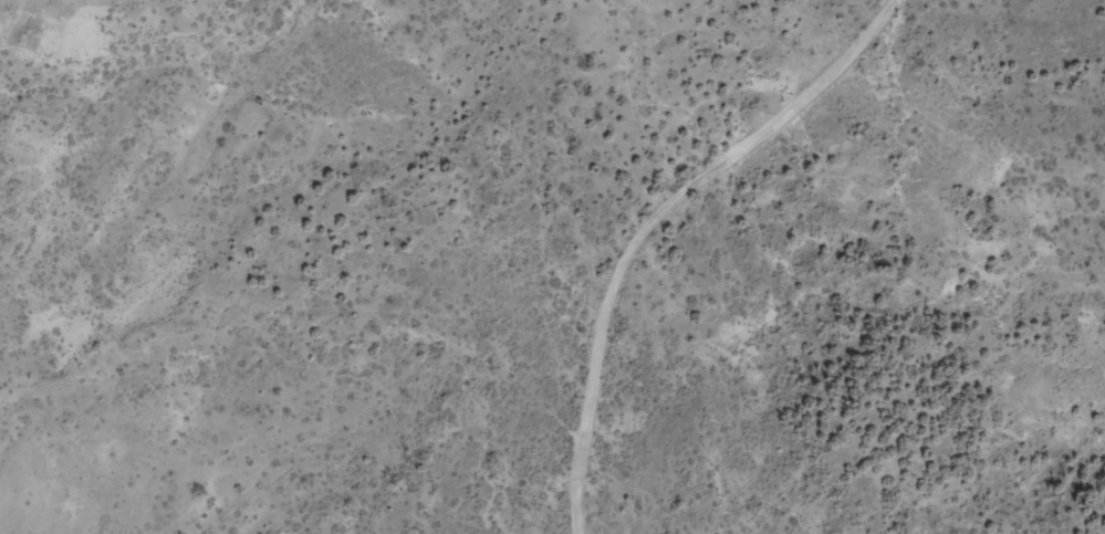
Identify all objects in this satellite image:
road: (613, 238)

